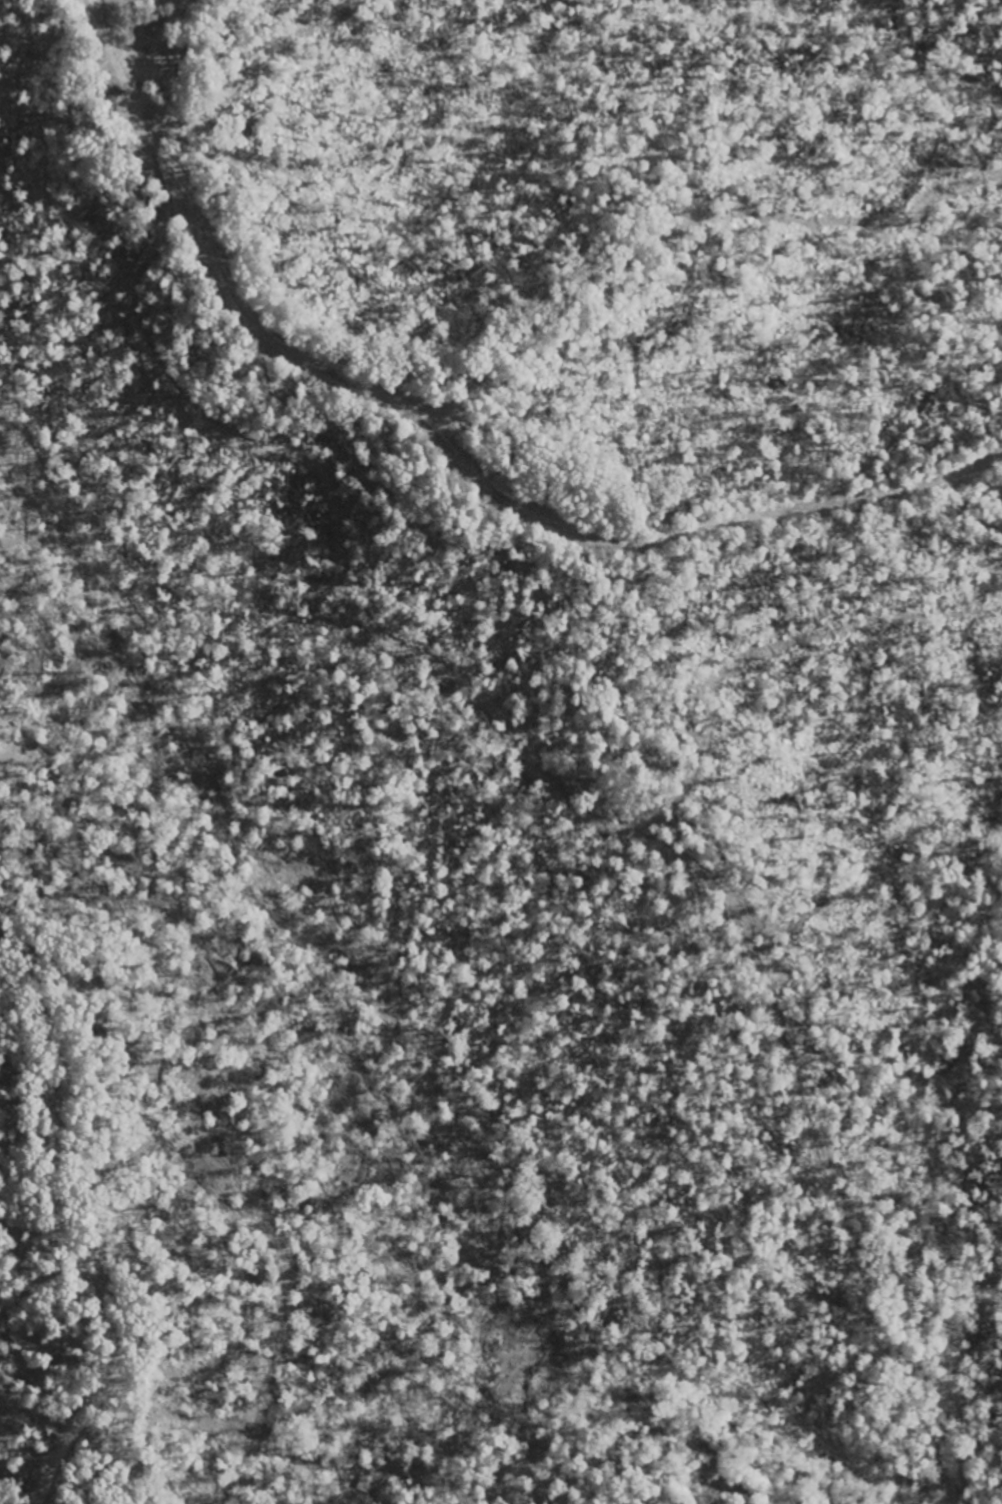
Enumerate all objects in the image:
road: (39, 1198)

